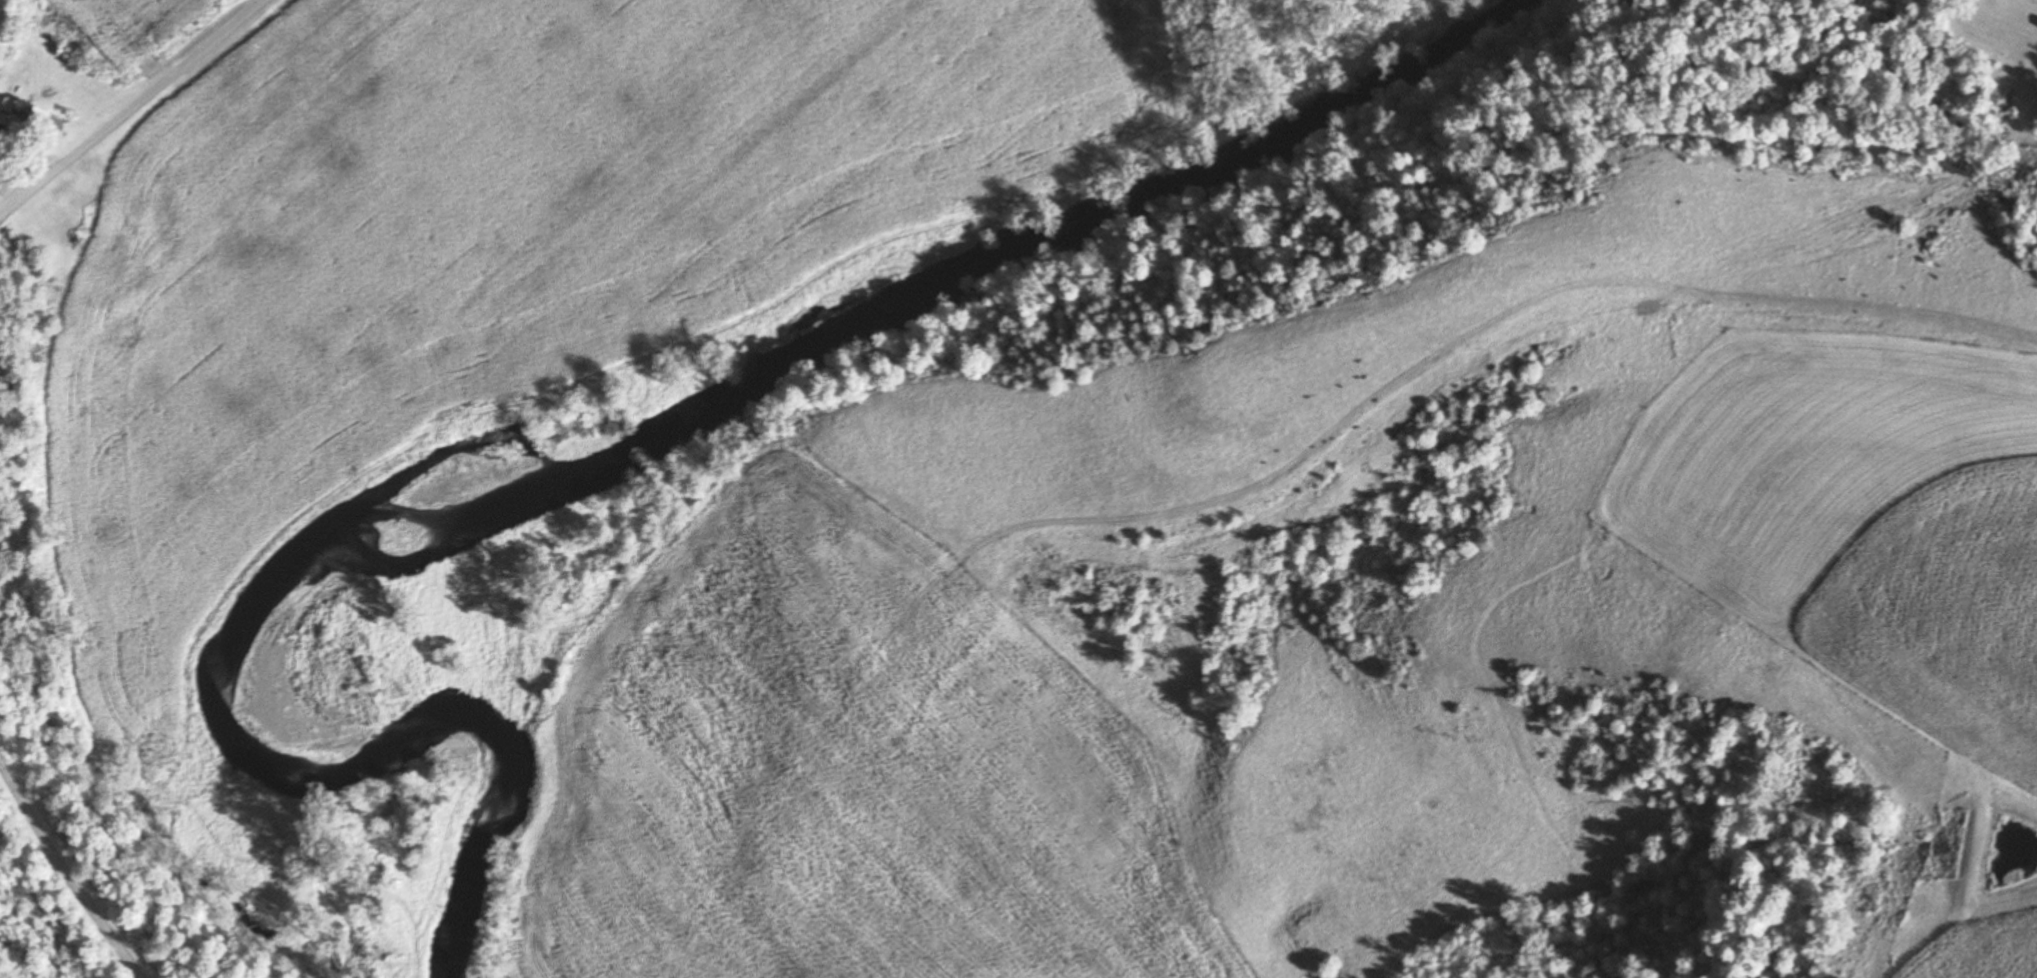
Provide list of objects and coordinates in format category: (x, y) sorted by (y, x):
road: (132, 107)
building: (29, 112)
river: (636, 444)
road: (65, 876)

